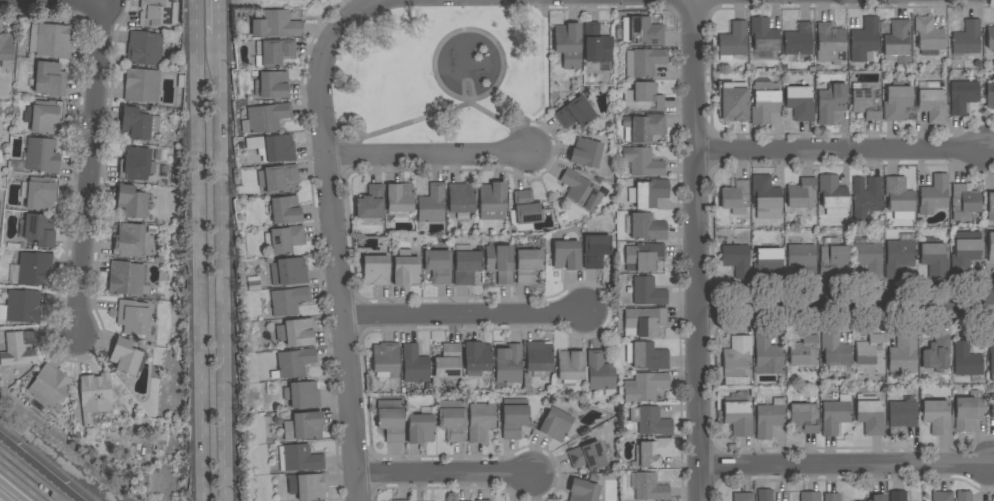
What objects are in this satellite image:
road: (50, 1)
road: (361, 9)
building: (158, 13)
building: (275, 24)
road: (469, 30)
building: (641, 31)
building: (763, 35)
building: (928, 36)
building: (966, 38)
building: (990, 38)
building: (50, 40)
building: (732, 41)
building: (864, 41)
building: (797, 42)
building: (897, 42)
building: (595, 44)
building: (829, 44)
building: (568, 45)
building: (6, 47)
building: (144, 48)
building: (274, 52)
building: (643, 62)
park: (443, 74)
building: (50, 79)
building: (141, 85)
building: (271, 85)
building: (962, 96)
building: (989, 96)
building: (643, 97)
building: (866, 100)
building: (732, 101)
building: (896, 101)
building: (764, 102)
building: (799, 103)
building: (831, 103)
building: (933, 103)
building: (574, 113)
building: (46, 117)
building: (265, 118)
building: (138, 123)
road: (504, 123)
road: (395, 127)
building: (644, 127)
building: (273, 148)
road: (842, 152)
building: (585, 153)
building: (41, 155)
road: (428, 157)
building: (642, 162)
building: (135, 164)
road: (88, 168)
building: (279, 178)
building: (580, 190)
building: (832, 192)
building: (41, 193)
building: (648, 193)
building: (801, 193)
building: (933, 195)
building: (866, 197)
building: (460, 198)
building: (736, 198)
building: (766, 198)
building: (899, 198)
building: (399, 199)
building: (131, 201)
building: (492, 201)
building: (964, 202)
building: (370, 204)
building: (432, 204)
building: (990, 206)
building: (526, 208)
building: (285, 210)
building: (646, 227)
building: (37, 230)
building: (284, 239)
building: (128, 240)
building: (991, 247)
road: (200, 250)
road: (222, 250)
building: (595, 250)
road: (697, 250)
building: (566, 255)
building: (965, 255)
building: (832, 256)
building: (643, 257)
road: (335, 258)
building: (802, 258)
building: (898, 258)
building: (869, 259)
building: (737, 260)
building: (934, 260)
building: (499, 262)
building: (766, 263)
building: (466, 265)
building: (527, 265)
building: (438, 266)
building: (32, 269)
building: (405, 269)
building: (375, 270)
building: (288, 271)
building: (125, 278)
building: (647, 292)
building: (286, 301)
building: (23, 306)
road: (841, 309)
road: (464, 316)
building: (133, 317)
building: (643, 322)
building: (295, 332)
building: (16, 349)
building: (834, 350)
building: (804, 352)
building: (903, 354)
building: (936, 354)
building: (767, 355)
building: (871, 355)
building: (538, 356)
building: (649, 356)
building: (737, 356)
building: (127, 357)
building: (477, 357)
building: (385, 360)
building: (966, 360)
building: (448, 362)
building: (293, 363)
building: (992, 363)
building: (414, 364)
building: (507, 366)
building: (570, 366)
building: (600, 371)
building: (49, 385)
building: (644, 386)
building: (304, 395)
building: (94, 396)
building: (992, 406)
building: (968, 410)
building: (835, 414)
building: (870, 415)
building: (901, 416)
building: (513, 417)
building: (804, 417)
building: (937, 417)
building: (738, 418)
building: (769, 418)
building: (391, 419)
building: (452, 419)
building: (650, 420)
building: (480, 421)
building: (555, 424)
building: (304, 426)
building: (421, 426)
building: (652, 452)
building: (587, 456)
building: (301, 458)
road: (846, 466)
road: (13, 470)
road: (13, 473)
road: (444, 474)
building: (308, 486)
building: (649, 488)
building: (582, 491)
road: (36, 492)
building: (764, 495)
building: (810, 496)
building: (897, 496)
building: (942, 496)
building: (963, 496)
building: (743, 497)
building: (831, 497)
building: (879, 498)
building: (400, 500)
building: (482, 500)

